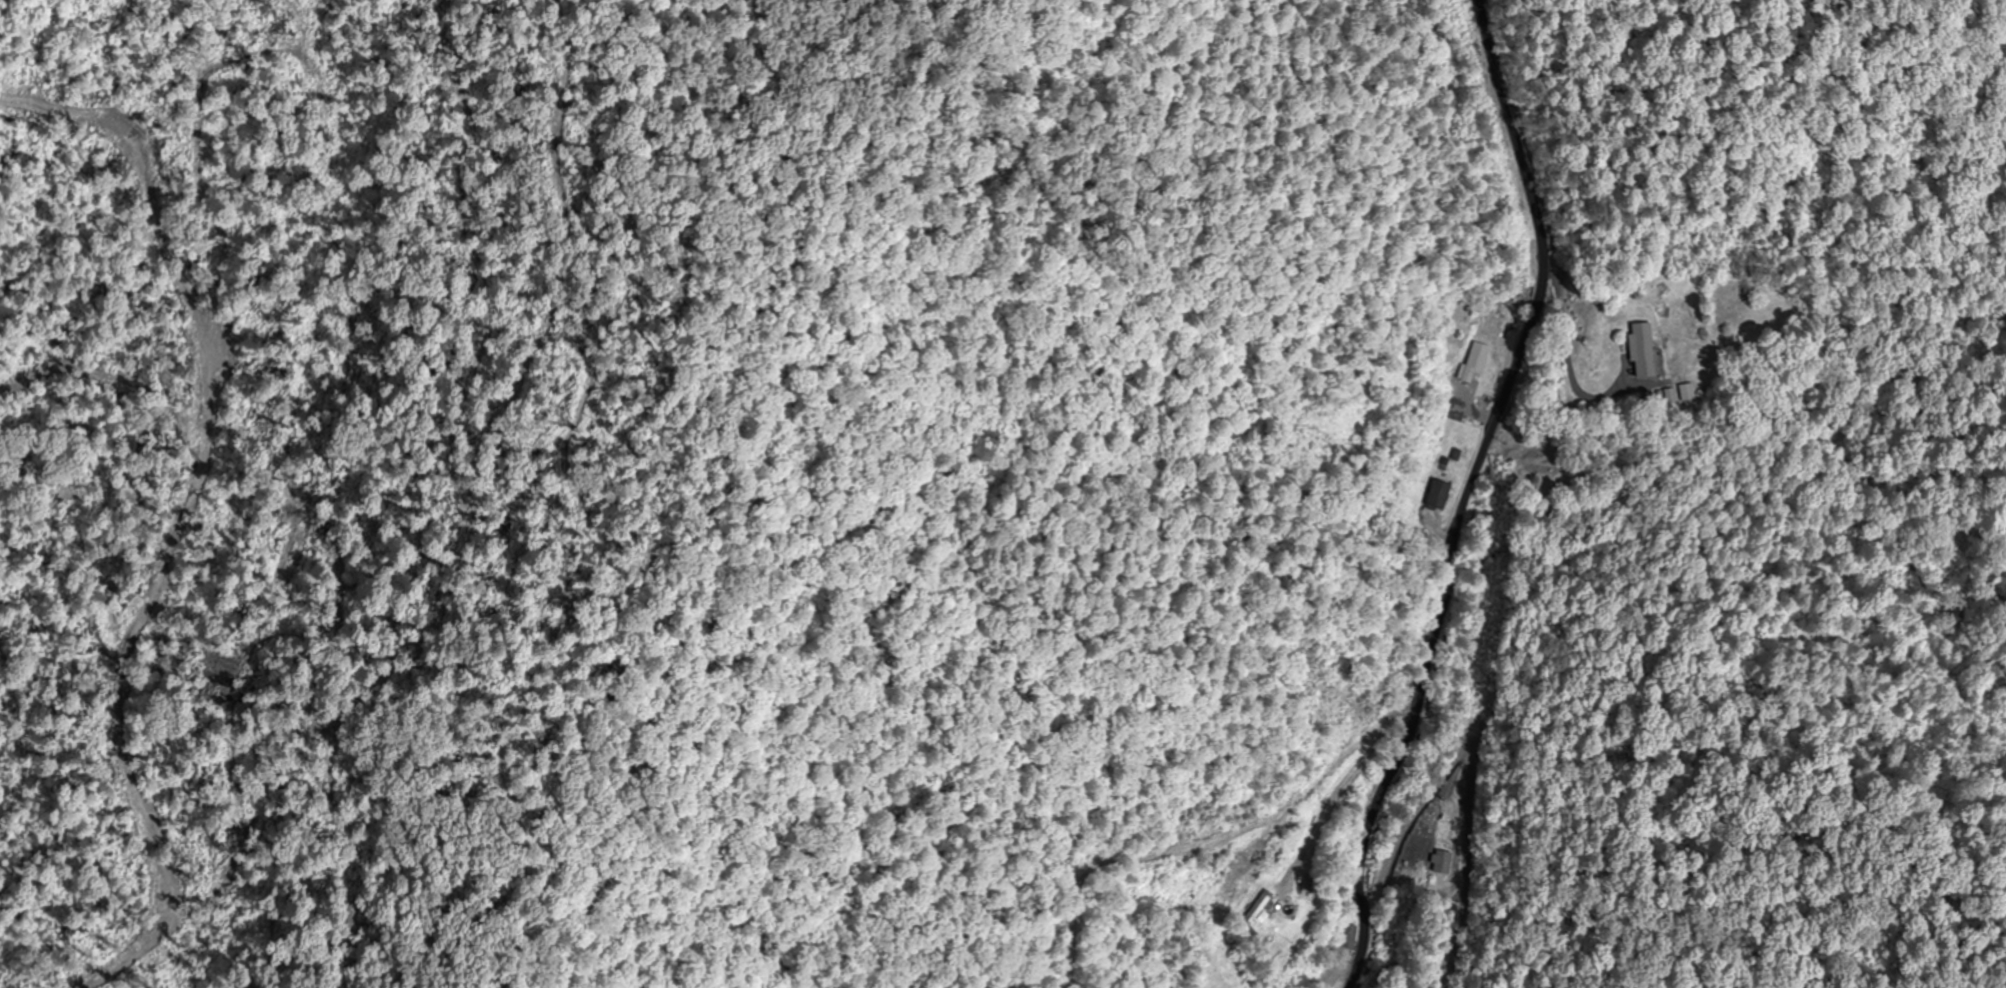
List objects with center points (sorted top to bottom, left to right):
building: (1640, 350)
building: (1472, 363)
road: (1467, 493)
building: (1436, 495)
building: (1442, 863)
building: (1251, 908)

